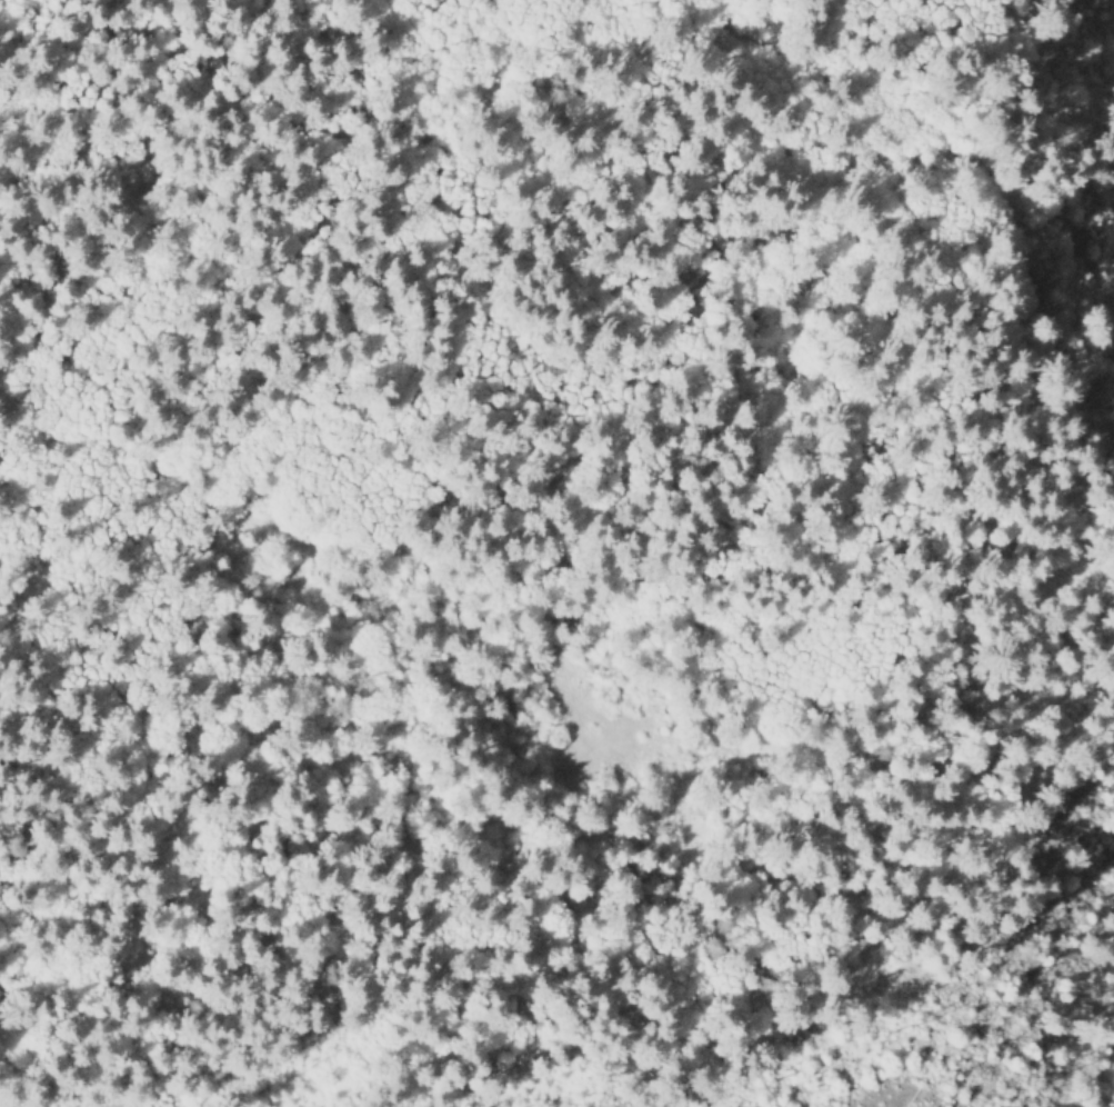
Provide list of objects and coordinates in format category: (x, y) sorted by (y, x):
road: (218, 527)

